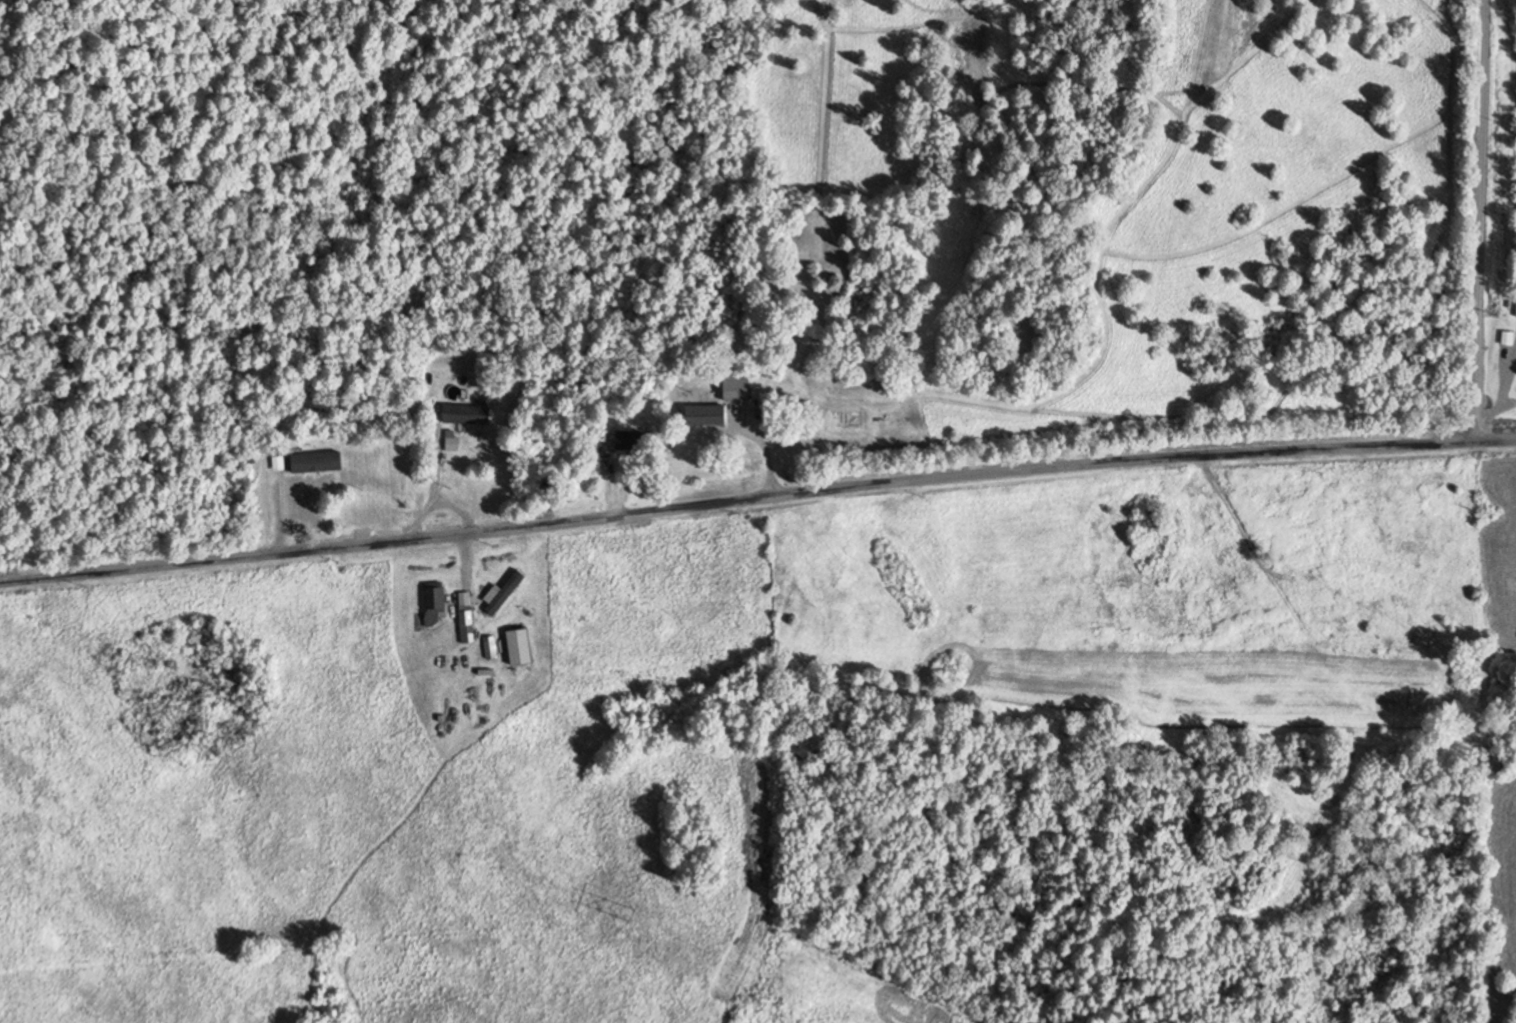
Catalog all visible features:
road: (1481, 219)
building: (1510, 338)
building: (740, 386)
building: (469, 414)
building: (709, 416)
building: (633, 440)
building: (314, 463)
road: (756, 497)
building: (389, 500)
building: (506, 592)
building: (437, 604)
building: (468, 625)
building: (522, 646)
building: (492, 647)
power tower: (235, 729)
power tower: (635, 915)

